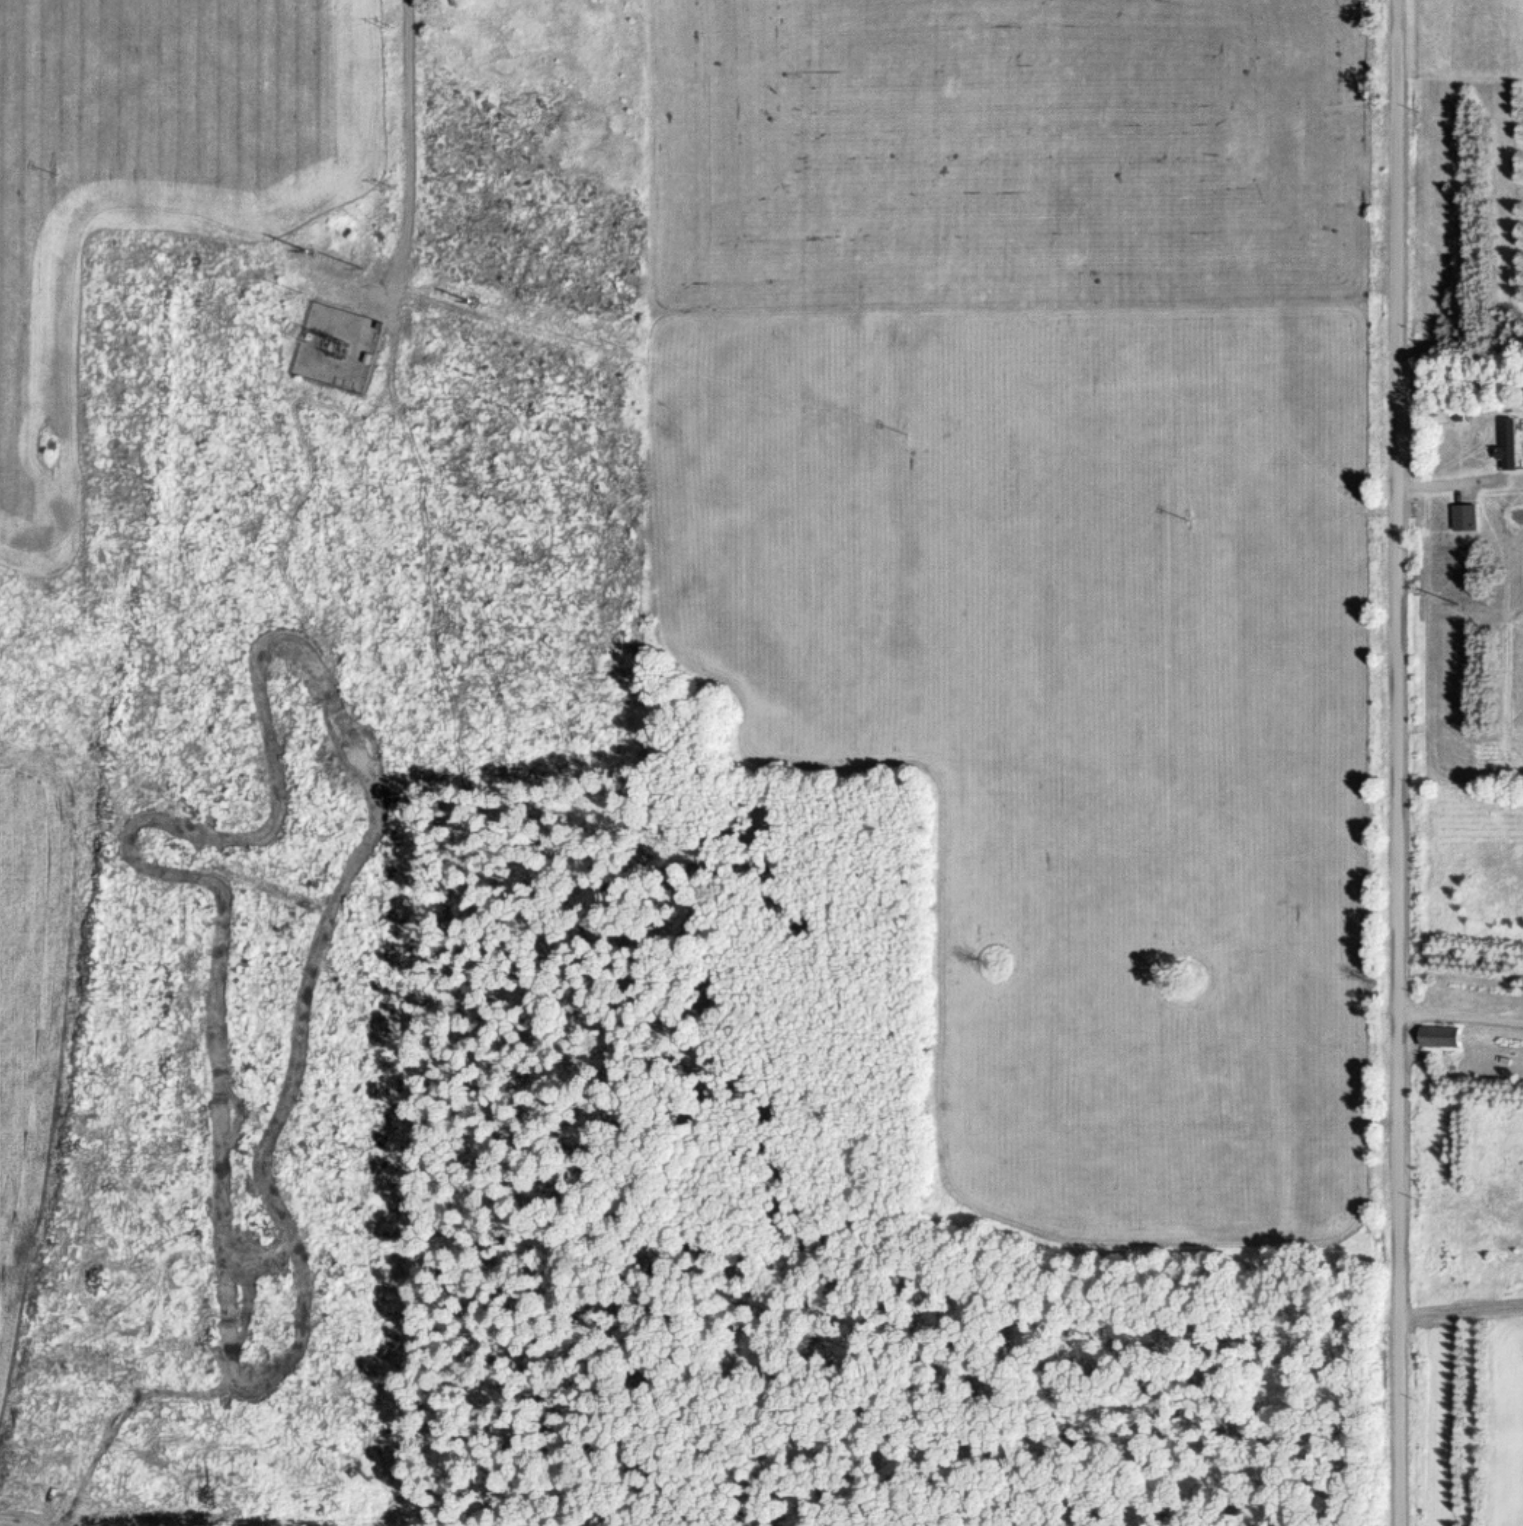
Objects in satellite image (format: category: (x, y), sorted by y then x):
road: (406, 151)
power substation: (334, 349)
building: (1506, 445)
building: (1463, 517)
road: (1406, 762)
road: (1463, 1021)
building: (1435, 1039)

